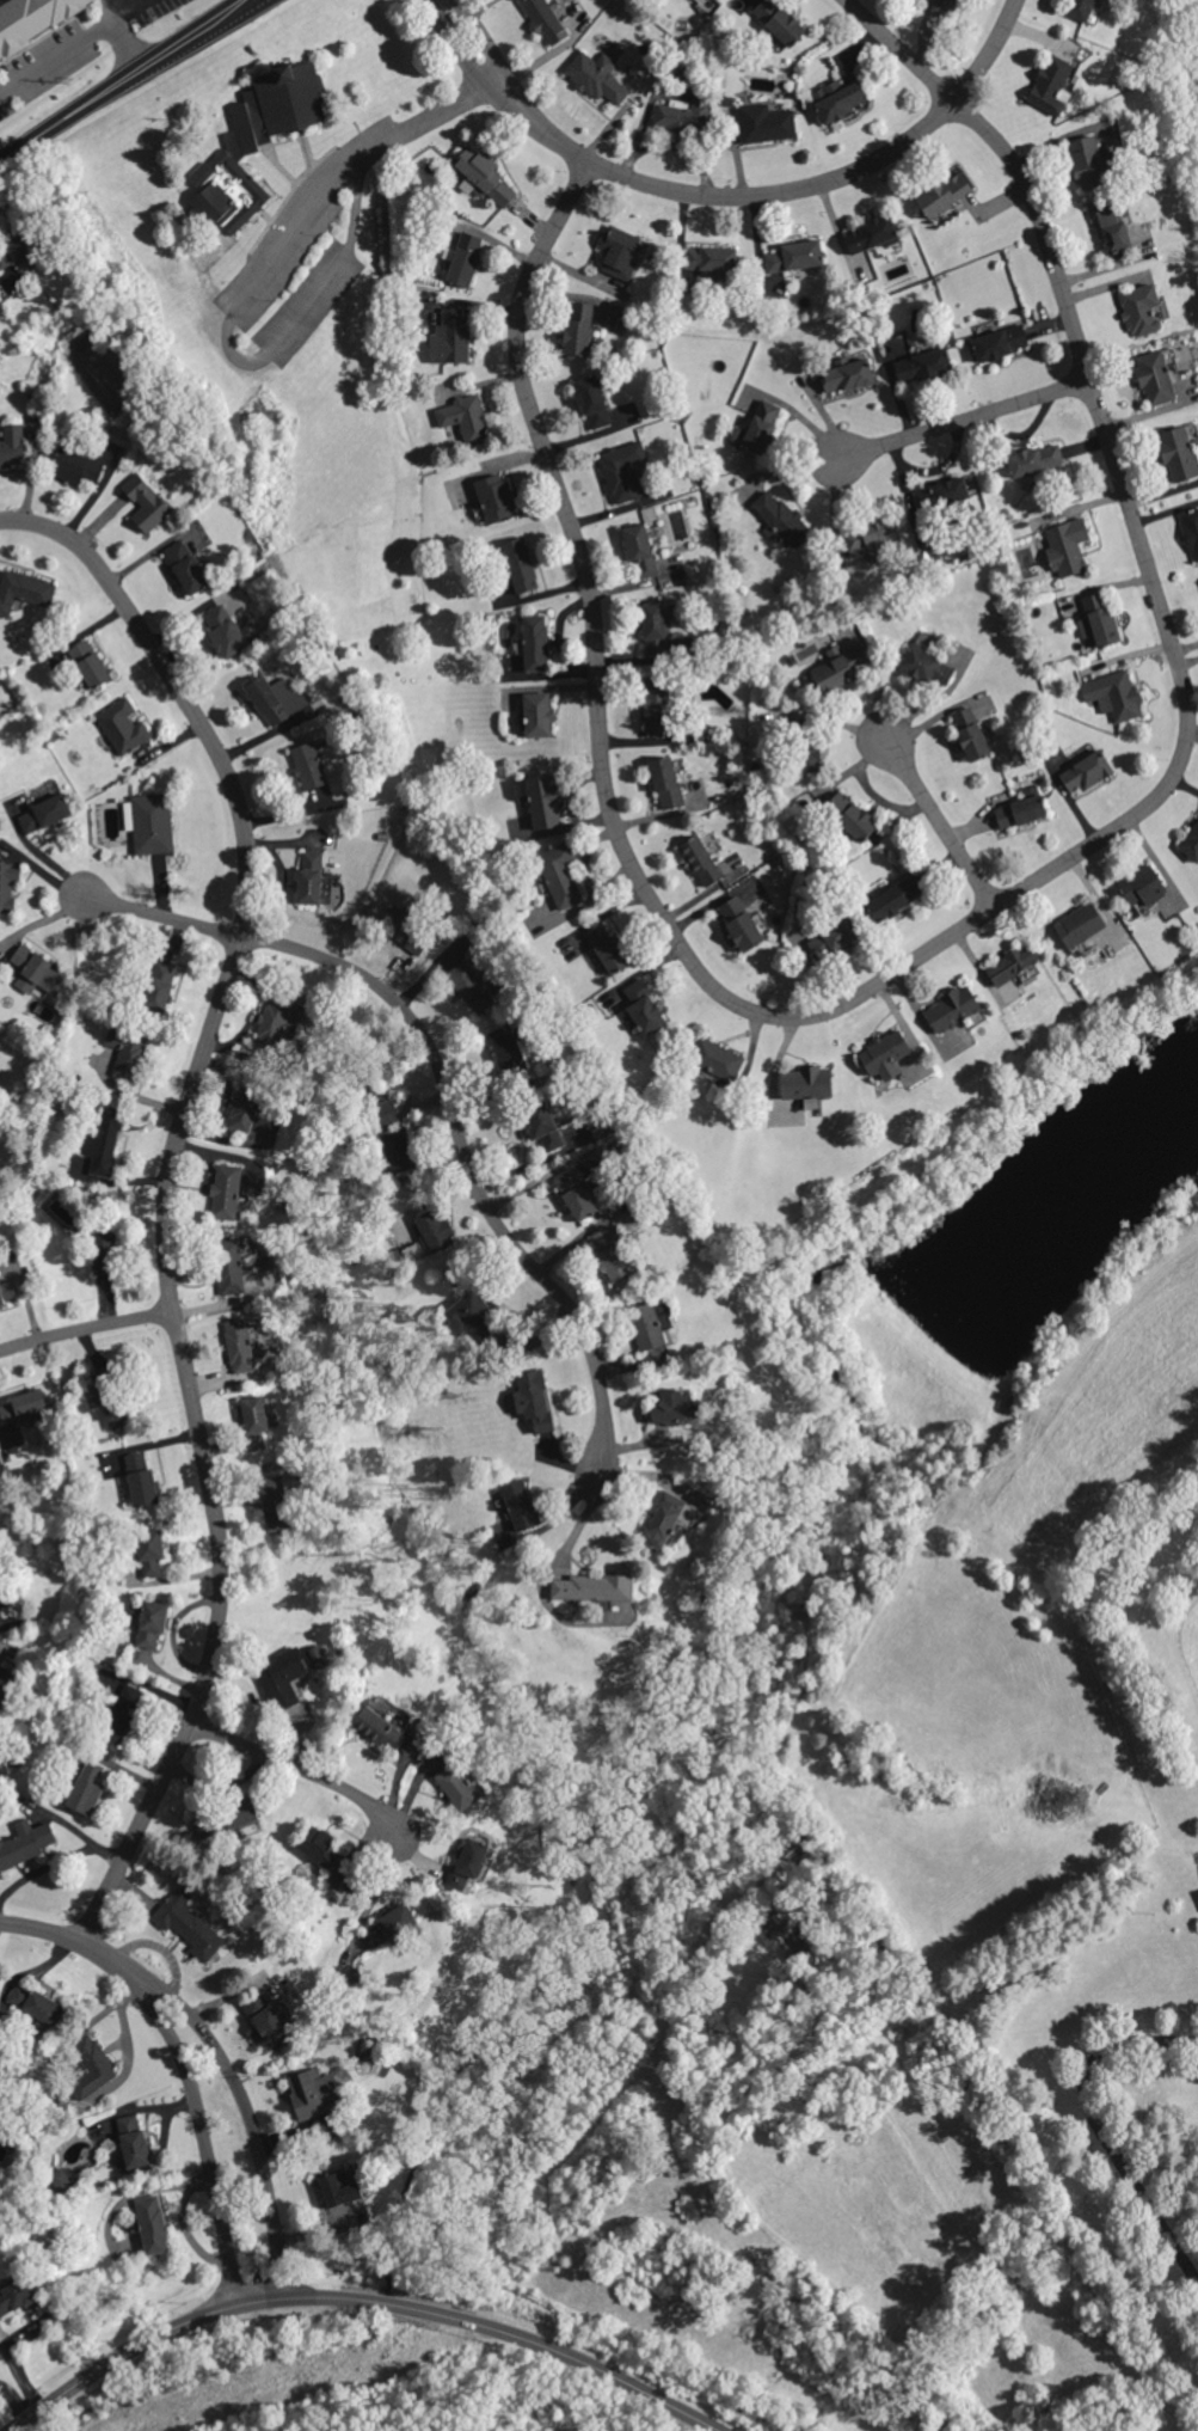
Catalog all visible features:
building: (946, 7)
building: (1082, 8)
building: (545, 19)
building: (36, 20)
building: (780, 20)
road: (902, 49)
building: (580, 66)
road: (122, 79)
building: (1052, 85)
building: (838, 99)
road: (432, 115)
building: (686, 117)
building: (770, 123)
road: (547, 133)
building: (257, 140)
building: (1088, 161)
building: (485, 174)
road: (822, 179)
building: (944, 194)
building: (1114, 229)
building: (871, 234)
building: (18, 249)
building: (794, 256)
building: (618, 257)
building: (463, 258)
building: (709, 258)
building: (1142, 308)
building: (578, 336)
building: (450, 337)
building: (1000, 343)
road: (240, 360)
building: (922, 366)
building: (1157, 375)
building: (847, 376)
road: (965, 414)
building: (466, 418)
building: (758, 428)
building: (11, 443)
building: (1182, 452)
building: (1034, 460)
building: (78, 466)
building: (623, 472)
building: (940, 494)
building: (494, 497)
building: (146, 502)
building: (779, 519)
building: (1192, 527)
building: (868, 537)
building: (1070, 544)
building: (640, 551)
building: (520, 564)
building: (186, 567)
building: (24, 589)
building: (1101, 620)
building: (656, 627)
building: (250, 630)
building: (225, 631)
building: (535, 642)
building: (90, 663)
building: (840, 667)
building: (927, 667)
building: (1113, 694)
building: (276, 698)
building: (656, 709)
building: (539, 714)
building: (124, 725)
building: (971, 733)
building: (812, 758)
building: (309, 765)
building: (1087, 771)
building: (666, 782)
building: (541, 800)
building: (1022, 808)
building: (44, 813)
building: (850, 815)
building: (153, 822)
road: (941, 822)
building: (1191, 841)
building: (701, 861)
building: (560, 875)
building: (311, 877)
building: (1142, 883)
building: (8, 884)
building: (896, 896)
road: (165, 914)
building: (741, 923)
building: (833, 937)
building: (406, 938)
building: (606, 948)
building: (1014, 965)
road: (892, 969)
building: (36, 970)
building: (471, 986)
building: (158, 991)
building: (644, 1008)
building: (954, 1009)
building: (276, 1023)
building: (508, 1048)
building: (127, 1049)
building: (884, 1054)
building: (719, 1061)
building: (807, 1083)
building: (246, 1107)
building: (387, 1113)
building: (543, 1127)
building: (104, 1140)
building: (399, 1149)
road: (465, 1163)
road: (172, 1166)
building: (226, 1192)
building: (576, 1194)
building: (435, 1229)
building: (105, 1251)
building: (610, 1255)
building: (231, 1266)
building: (8, 1290)
building: (471, 1317)
building: (649, 1323)
road: (86, 1333)
building: (240, 1345)
building: (534, 1400)
building: (24, 1404)
building: (669, 1406)
building: (254, 1421)
building: (140, 1480)
building: (275, 1501)
building: (516, 1512)
building: (664, 1520)
building: (150, 1551)
building: (594, 1587)
building: (152, 1623)
building: (282, 1677)
building: (5, 1682)
building: (121, 1714)
building: (380, 1728)
building: (91, 1769)
road: (305, 1774)
building: (459, 1786)
building: (85, 1795)
building: (241, 1813)
building: (25, 1843)
building: (319, 1845)
building: (798, 1847)
road: (57, 1862)
building: (468, 1863)
road: (93, 1918)
road: (42, 1924)
building: (188, 1924)
building: (391, 1927)
building: (785, 1934)
road: (100, 1958)
building: (33, 2007)
building: (268, 2020)
building: (91, 2065)
building: (313, 2092)
road: (242, 2112)
road: (1101, 2126)
road: (199, 2132)
building: (133, 2142)
building: (152, 2224)
building: (18, 2294)
road: (362, 2301)

